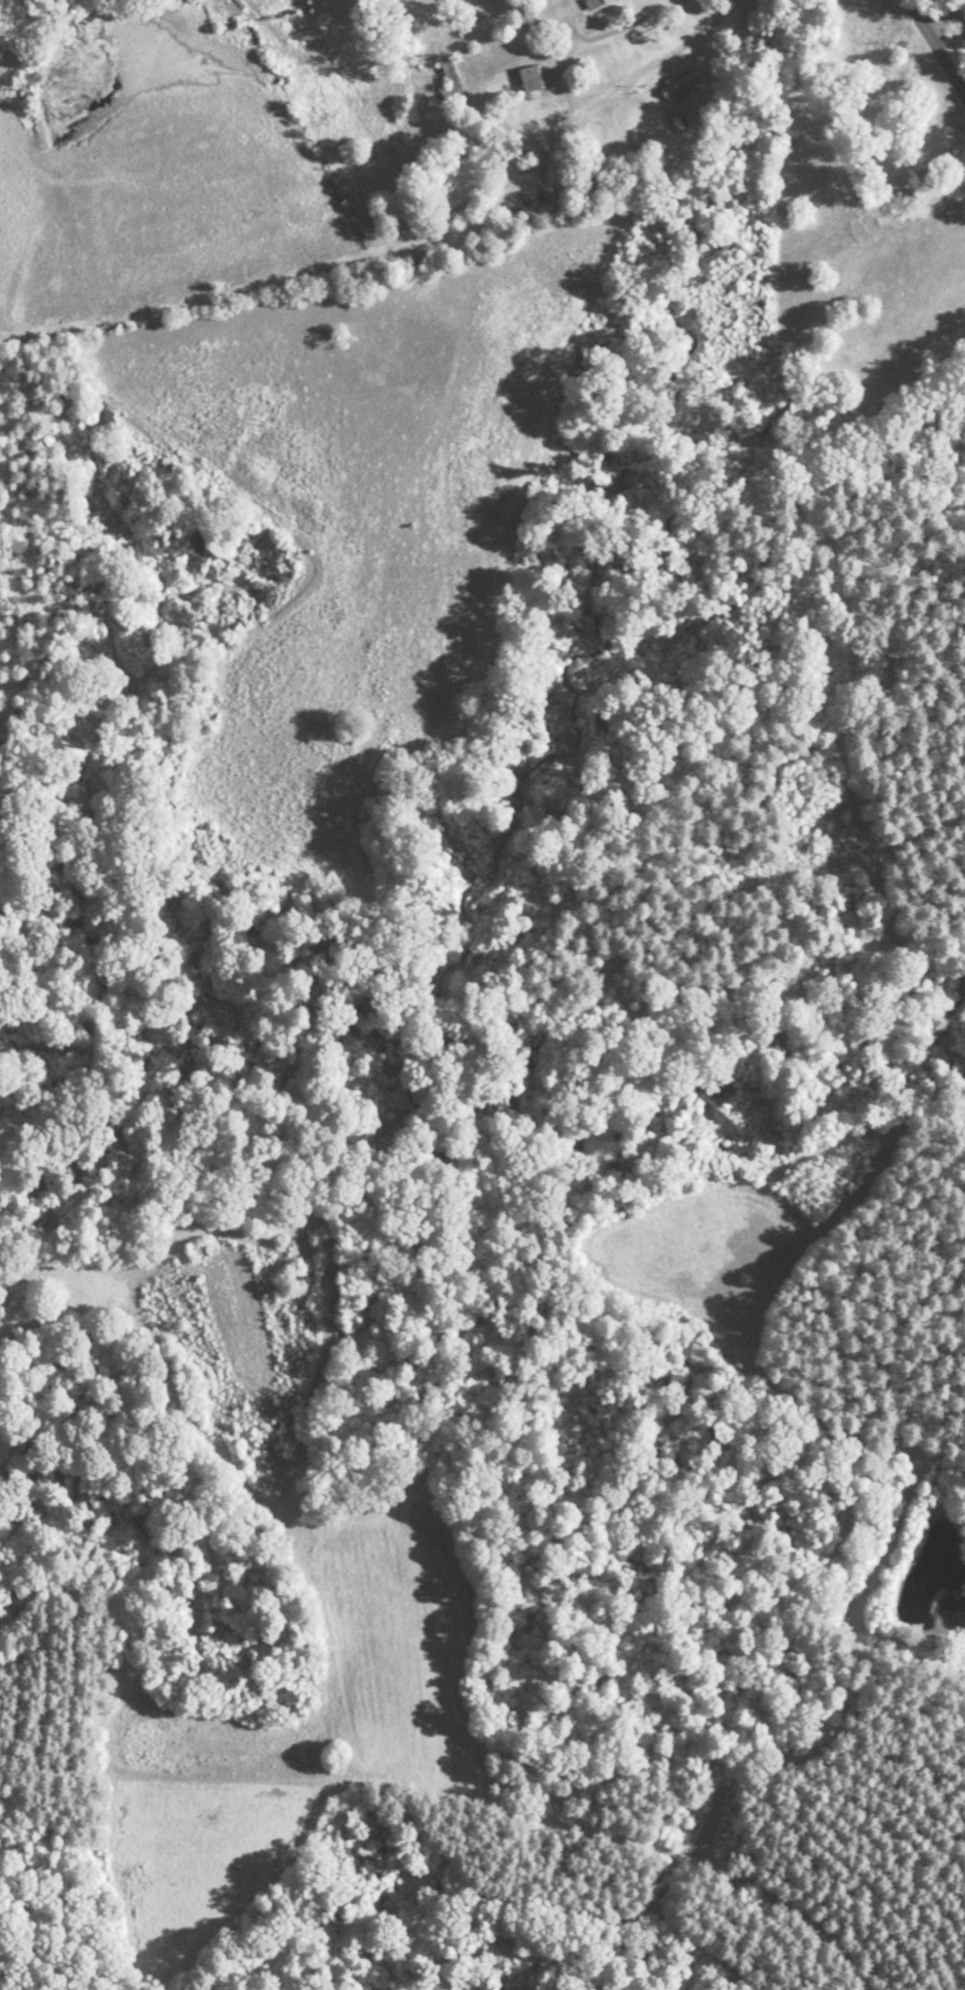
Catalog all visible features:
building: (595, 3)
road: (943, 47)
building: (448, 76)
building: (528, 80)
road: (497, 179)

